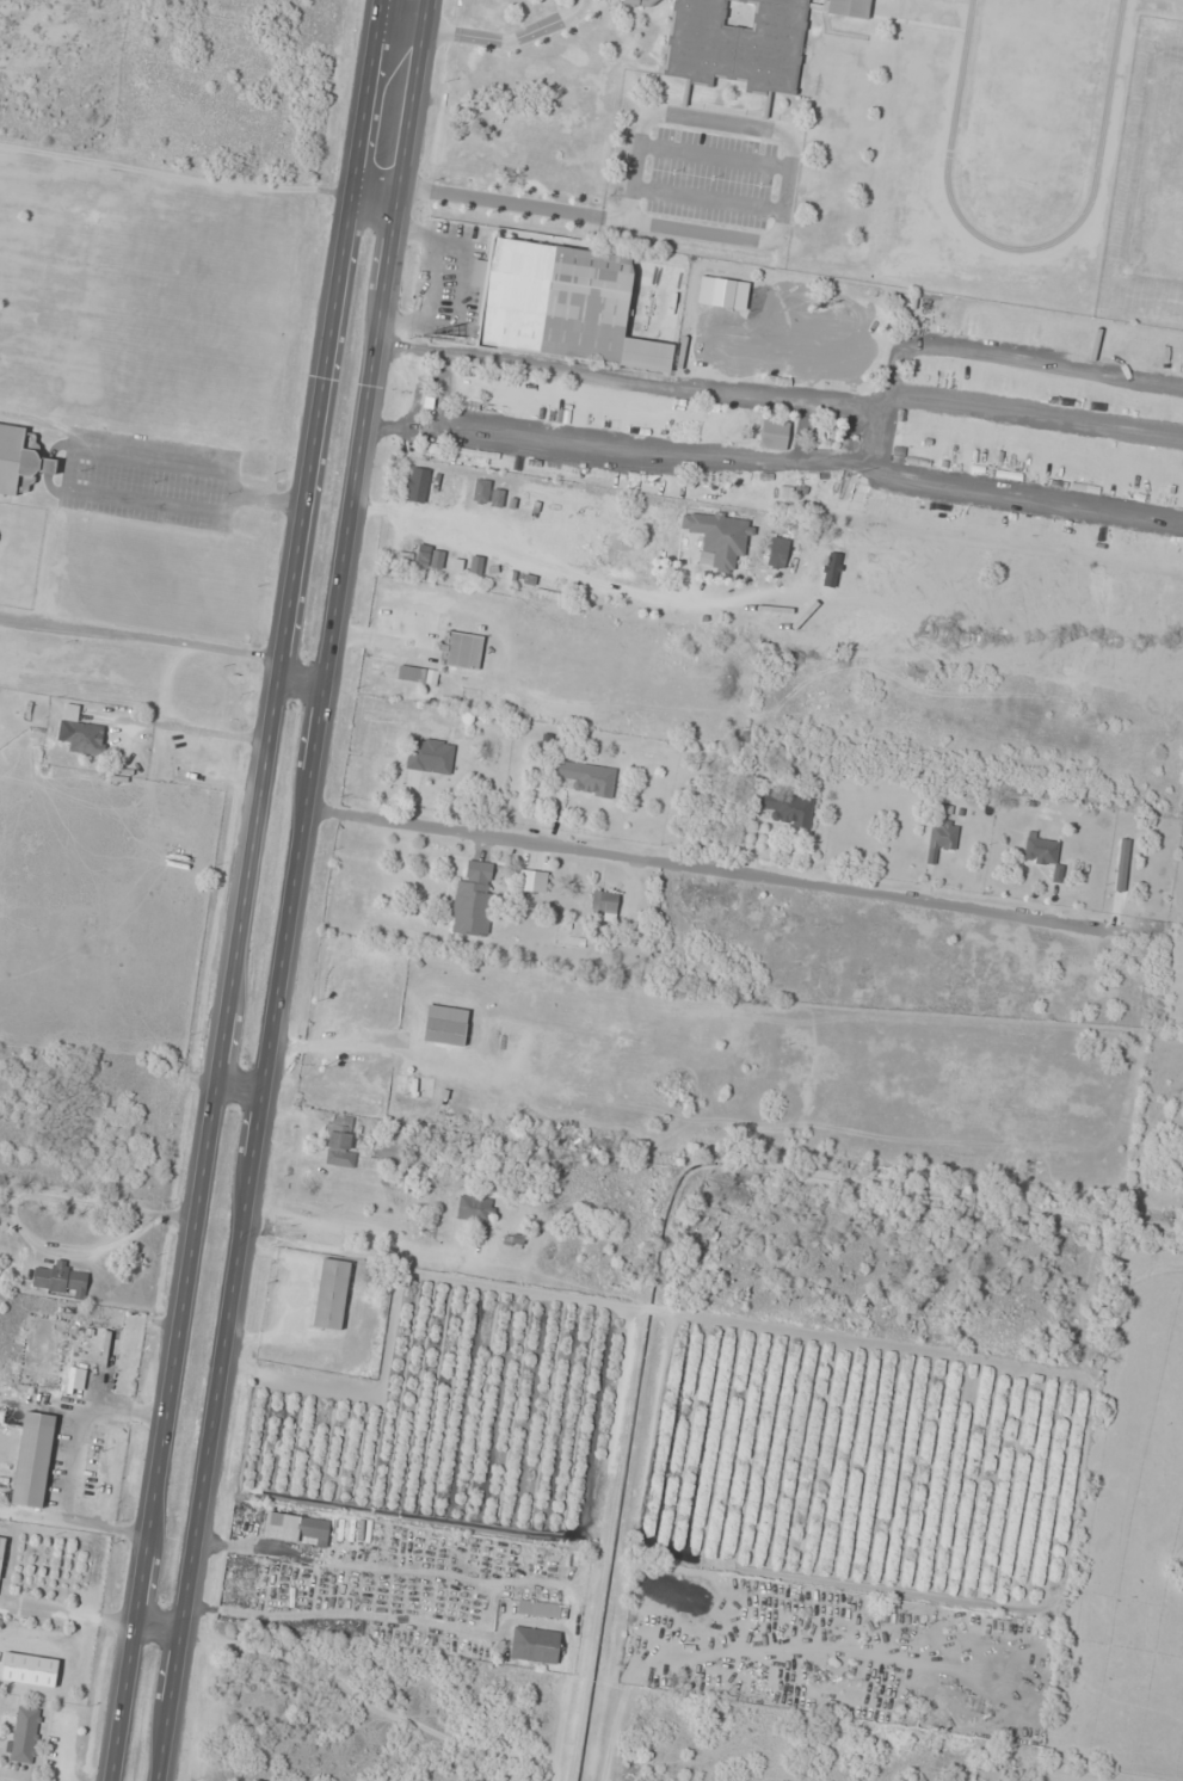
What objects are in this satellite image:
road: (482, 37)
building: (844, 44)
road: (554, 211)
building: (553, 301)
road: (610, 376)
building: (774, 436)
building: (20, 460)
building: (719, 536)
building: (831, 569)
building: (770, 614)
building: (805, 616)
building: (463, 651)
road: (301, 680)
building: (84, 737)
building: (430, 756)
building: (587, 778)
building: (788, 808)
building: (941, 838)
building: (1040, 850)
road: (711, 869)
building: (532, 881)
railway: (275, 889)
road: (246, 890)
road: (294, 890)
building: (474, 900)
building: (603, 904)
building: (445, 1025)
road: (240, 1085)
building: (341, 1141)
building: (387, 1153)
building: (467, 1212)
building: (515, 1240)
building: (60, 1280)
building: (331, 1294)
building: (33, 1460)
building: (297, 1529)
building: (1, 1549)
building: (542, 1609)
road: (158, 1625)
building: (535, 1645)
building: (25, 1734)

